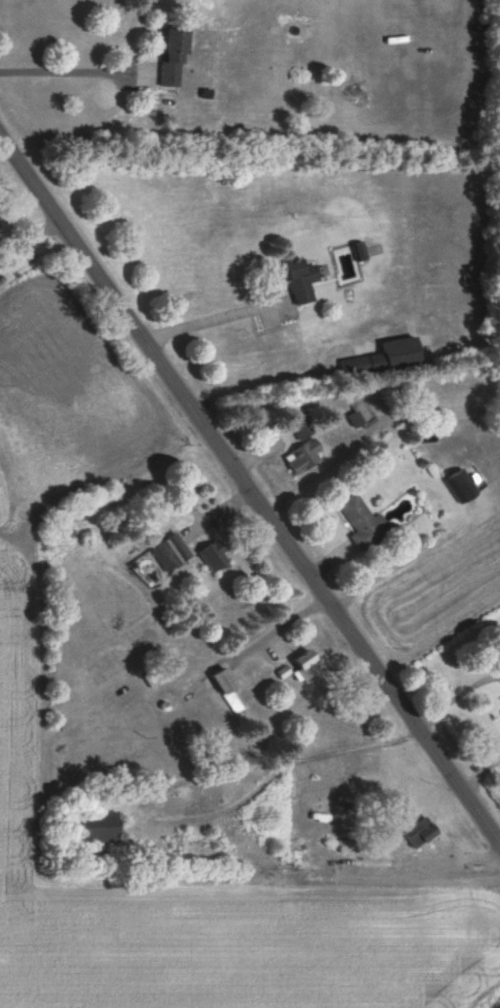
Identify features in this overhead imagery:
building: (172, 57)
road: (57, 74)
road: (28, 237)
building: (300, 280)
road: (206, 322)
building: (362, 365)
building: (358, 414)
building: (303, 455)
building: (459, 486)
road: (249, 492)
building: (362, 522)
building: (169, 551)
building: (213, 555)
crop: (441, 589)
building: (305, 667)
building: (225, 687)
road: (454, 696)
road: (479, 773)
building: (97, 827)
building: (418, 832)
building: (344, 844)
crop: (214, 914)

